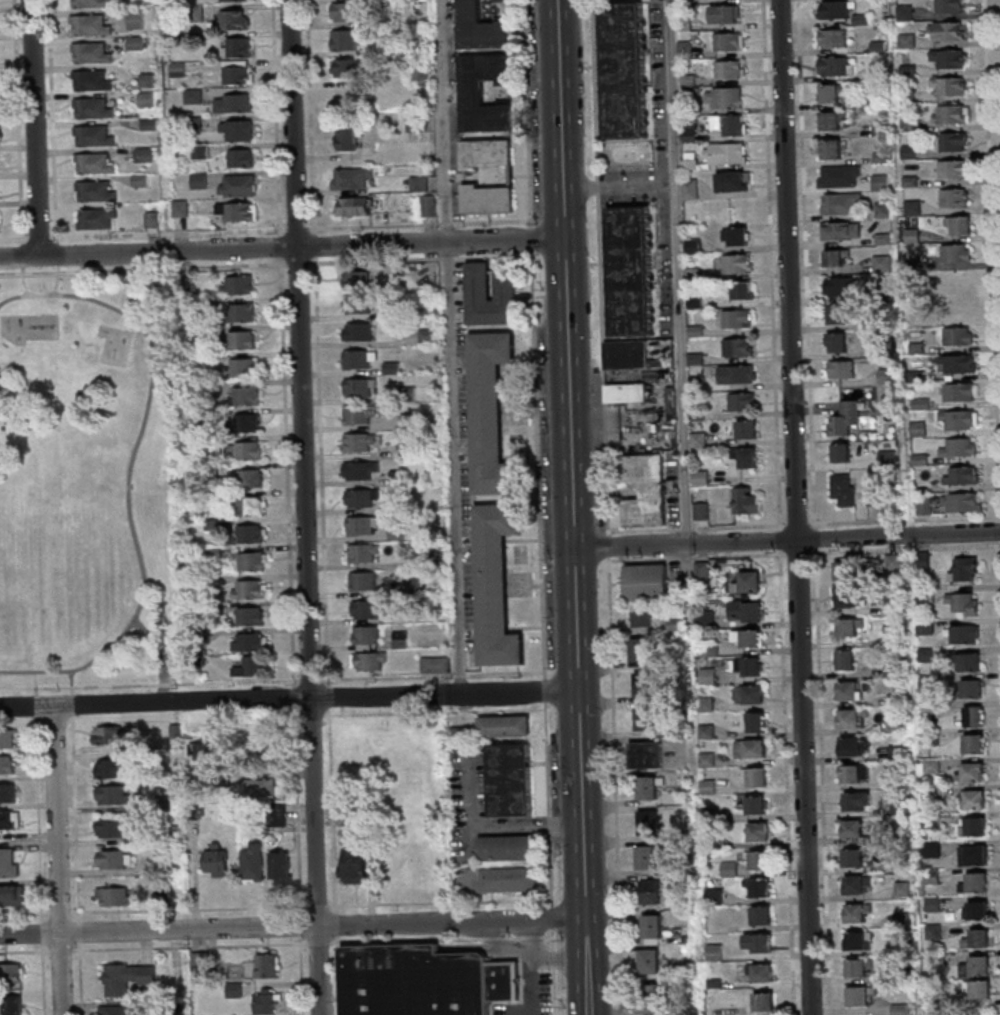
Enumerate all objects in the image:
building: (230, 0)
building: (91, 2)
building: (949, 6)
building: (833, 9)
building: (352, 11)
building: (725, 14)
building: (136, 19)
building: (232, 19)
building: (90, 23)
building: (483, 27)
building: (948, 31)
building: (831, 38)
building: (350, 41)
building: (729, 41)
building: (135, 42)
building: (236, 46)
building: (90, 53)
building: (948, 59)
building: (835, 66)
building: (177, 68)
building: (353, 68)
building: (424, 69)
building: (729, 69)
building: (627, 70)
building: (237, 71)
building: (95, 79)
building: (952, 87)
building: (474, 91)
building: (829, 93)
building: (192, 96)
building: (723, 97)
building: (233, 102)
building: (92, 107)
building: (951, 115)
road: (278, 118)
building: (832, 120)
road: (18, 121)
road: (52, 121)
building: (148, 123)
building: (420, 124)
building: (729, 124)
road: (38, 127)
building: (235, 130)
building: (92, 135)
building: (350, 139)
building: (952, 143)
building: (832, 148)
building: (200, 150)
building: (488, 153)
building: (725, 153)
building: (144, 154)
building: (240, 157)
building: (95, 162)
building: (952, 170)
parking lot: (654, 175)
building: (839, 176)
building: (355, 178)
building: (140, 179)
building: (199, 180)
building: (732, 181)
building: (880, 182)
building: (421, 183)
building: (238, 184)
road: (623, 188)
building: (690, 189)
building: (93, 191)
building: (955, 199)
building: (490, 200)
road: (993, 201)
building: (840, 203)
building: (358, 206)
building: (431, 206)
building: (236, 210)
building: (96, 218)
building: (152, 218)
building: (959, 226)
road: (294, 229)
building: (840, 230)
road: (169, 233)
building: (735, 235)
road: (38, 237)
road: (13, 238)
road: (534, 244)
road: (283, 247)
road: (283, 247)
road: (318, 251)
road: (56, 253)
building: (955, 253)
road: (21, 255)
building: (835, 257)
road: (423, 259)
building: (882, 262)
road: (301, 263)
building: (737, 263)
road: (145, 268)
building: (633, 272)
road: (681, 272)
road: (55, 280)
building: (359, 280)
road: (22, 283)
building: (241, 286)
building: (841, 286)
building: (188, 287)
building: (481, 290)
building: (741, 290)
building: (208, 304)
building: (360, 304)
road: (37, 305)
building: (960, 308)
building: (390, 313)
building: (243, 314)
building: (837, 315)
building: (736, 319)
road: (122, 321)
building: (209, 332)
building: (362, 332)
building: (958, 335)
building: (431, 337)
building: (244, 341)
building: (836, 343)
road: (454, 346)
building: (736, 348)
building: (632, 357)
building: (212, 359)
building: (362, 359)
building: (958, 363)
building: (245, 369)
building: (395, 369)
building: (841, 369)
building: (735, 375)
building: (209, 387)
building: (362, 388)
building: (958, 391)
building: (626, 392)
building: (411, 394)
building: (247, 397)
building: (741, 403)
building: (493, 414)
building: (361, 415)
building: (844, 417)
building: (958, 418)
building: (411, 421)
building: (248, 424)
building: (918, 428)
building: (747, 430)
building: (362, 442)
building: (959, 447)
building: (414, 449)
building: (247, 452)
building: (840, 452)
building: (745, 457)
road: (541, 464)
building: (363, 470)
road: (324, 471)
building: (214, 472)
road: (130, 473)
road: (290, 473)
building: (964, 474)
building: (700, 477)
building: (400, 478)
building: (253, 479)
park: (87, 482)
building: (647, 489)
building: (842, 489)
building: (217, 497)
building: (365, 498)
building: (744, 500)
building: (962, 501)
building: (922, 506)
building: (255, 507)
road: (308, 507)
building: (400, 507)
road: (577, 507)
road: (606, 507)
road: (794, 507)
building: (703, 510)
building: (215, 526)
building: (365, 526)
building: (400, 532)
building: (249, 535)
road: (789, 540)
building: (367, 553)
building: (217, 554)
building: (442, 558)
building: (254, 562)
building: (893, 562)
building: (964, 569)
building: (846, 570)
building: (702, 571)
building: (216, 581)
building: (366, 581)
building: (646, 582)
building: (747, 583)
building: (498, 586)
building: (413, 587)
building: (253, 591)
building: (845, 596)
building: (963, 602)
building: (220, 609)
building: (369, 610)
building: (744, 612)
building: (641, 616)
building: (254, 617)
building: (705, 621)
building: (849, 627)
building: (965, 633)
building: (208, 635)
building: (370, 636)
building: (747, 639)
building: (404, 640)
building: (253, 644)
building: (709, 648)
building: (640, 649)
road: (159, 657)
building: (845, 659)
building: (372, 661)
building: (968, 661)
building: (438, 665)
building: (748, 666)
building: (201, 668)
building: (254, 668)
road: (436, 676)
road: (70, 681)
road: (315, 681)
road: (34, 683)
road: (151, 683)
building: (643, 684)
building: (971, 688)
building: (850, 690)
road: (548, 691)
building: (752, 694)
road: (338, 696)
road: (290, 699)
road: (297, 699)
road: (70, 704)
road: (35, 708)
road: (346, 710)
road: (341, 715)
building: (974, 715)
building: (851, 717)
building: (645, 718)
road: (68, 720)
building: (755, 721)
road: (56, 722)
road: (301, 723)
road: (314, 723)
road: (328, 723)
road: (22, 724)
building: (507, 728)
building: (178, 732)
building: (467, 733)
building: (112, 737)
building: (8, 740)
building: (974, 743)
building: (854, 745)
building: (750, 748)
building: (205, 753)
building: (646, 754)
building: (8, 766)
building: (114, 769)
building: (971, 771)
building: (854, 773)
building: (756, 776)
road: (697, 777)
building: (225, 779)
building: (513, 782)
building: (647, 787)
building: (264, 789)
building: (9, 795)
building: (116, 796)
building: (973, 799)
building: (856, 800)
building: (167, 804)
road: (551, 805)
building: (755, 805)
building: (258, 810)
road: (300, 811)
building: (196, 813)
building: (361, 813)
building: (280, 816)
road: (78, 818)
building: (11, 821)
road: (41, 821)
building: (647, 821)
road: (492, 822)
building: (973, 826)
building: (852, 828)
building: (115, 830)
building: (757, 832)
building: (175, 834)
building: (509, 849)
building: (932, 849)
building: (973, 854)
building: (647, 857)
building: (852, 857)
building: (117, 860)
building: (758, 860)
road: (60, 861)
building: (220, 862)
building: (256, 862)
building: (162, 863)
building: (9, 864)
building: (357, 866)
building: (284, 869)
building: (510, 880)
building: (529, 880)
building: (492, 881)
building: (975, 882)
building: (857, 884)
building: (757, 887)
building: (650, 891)
building: (13, 897)
building: (118, 898)
road: (442, 902)
road: (321, 906)
building: (975, 909)
road: (191, 910)
building: (857, 912)
road: (26, 915)
road: (62, 915)
building: (761, 915)
road: (555, 919)
road: (303, 924)
road: (338, 925)
road: (294, 926)
building: (651, 926)
road: (45, 933)
road: (83, 933)
building: (977, 938)
road: (442, 939)
road: (555, 940)
building: (857, 940)
building: (757, 942)
road: (321, 943)
road: (193, 947)
road: (63, 950)
road: (26, 951)
road: (560, 957)
road: (556, 959)
building: (649, 961)
building: (203, 962)
building: (976, 966)
building: (859, 967)
building: (270, 968)
building: (12, 973)
building: (759, 973)
road: (304, 975)
road: (339, 975)
road: (46, 979)
road: (83, 979)
building: (130, 979)
building: (425, 981)
road: (531, 986)
building: (978, 989)
building: (237, 991)
road: (555, 991)
building: (859, 995)
parking lot: (532, 998)
building: (271, 1003)
building: (763, 1003)
building: (153, 1005)
building: (16, 1006)
building: (899, 1009)
building: (120, 1011)

